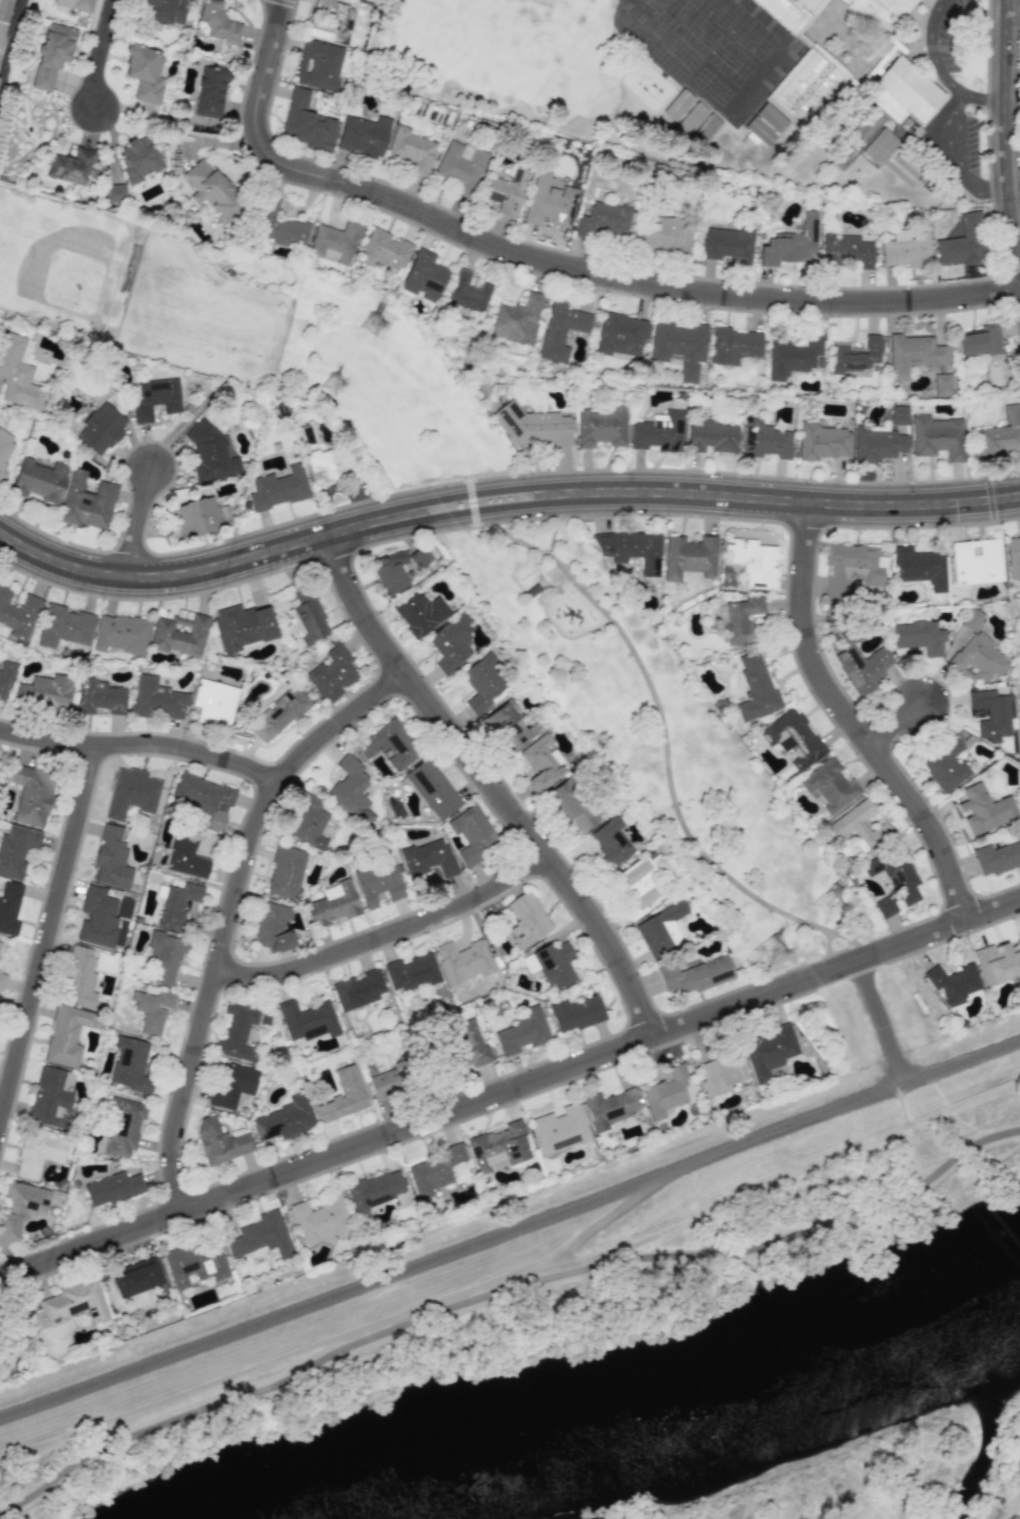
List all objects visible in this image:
building: (75, 4)
building: (163, 11)
building: (791, 12)
building: (881, 12)
building: (4, 17)
building: (329, 22)
building: (216, 23)
road: (10, 40)
road: (932, 50)
building: (52, 54)
park: (494, 54)
road: (98, 56)
building: (318, 65)
building: (144, 73)
building: (807, 85)
building: (210, 92)
building: (903, 92)
building: (677, 104)
road: (1012, 104)
building: (306, 122)
building: (699, 123)
building: (765, 124)
building: (363, 136)
road: (952, 138)
building: (880, 147)
building: (411, 150)
building: (842, 152)
building: (138, 159)
building: (72, 166)
building: (460, 166)
building: (211, 189)
building: (507, 191)
building: (114, 193)
building: (549, 202)
building: (605, 221)
building: (277, 225)
building: (665, 235)
building: (335, 242)
building: (963, 242)
building: (727, 243)
building: (791, 243)
building: (906, 246)
building: (384, 249)
building: (847, 250)
road: (551, 264)
building: (424, 276)
building: (468, 293)
power tower: (375, 317)
building: (517, 320)
building: (561, 330)
building: (620, 334)
building: (980, 341)
building: (732, 345)
building: (679, 347)
building: (914, 355)
building: (792, 356)
building: (855, 357)
building: (18, 373)
power tower: (337, 384)
building: (941, 384)
park: (384, 389)
building: (155, 399)
building: (898, 415)
building: (532, 425)
building: (602, 427)
building: (100, 428)
building: (658, 431)
building: (1001, 433)
building: (711, 437)
building: (937, 437)
building: (765, 440)
building: (821, 442)
building: (876, 444)
building: (4, 449)
building: (209, 453)
building: (332, 464)
building: (39, 480)
building: (278, 488)
building: (87, 502)
road: (473, 502)
road: (501, 503)
building: (200, 516)
road: (145, 527)
road: (553, 536)
building: (630, 549)
building: (1013, 556)
building: (417, 557)
building: (689, 557)
building: (753, 562)
building: (976, 562)
building: (921, 567)
building: (852, 568)
building: (390, 571)
building: (18, 613)
building: (420, 613)
building: (308, 615)
building: (972, 619)
building: (740, 620)
building: (294, 622)
building: (64, 626)
building: (242, 626)
building: (120, 634)
building: (180, 634)
building: (919, 636)
building: (451, 642)
building: (978, 658)
building: (862, 667)
building: (331, 674)
building: (5, 677)
building: (483, 682)
building: (755, 688)
building: (44, 692)
building: (98, 697)
building: (157, 699)
building: (214, 703)
building: (991, 714)
building: (279, 715)
road: (860, 723)
building: (509, 726)
road: (905, 726)
road: (663, 733)
building: (792, 738)
building: (389, 744)
park: (662, 745)
road: (142, 748)
building: (0, 759)
building: (541, 763)
building: (945, 765)
building: (829, 786)
road: (495, 787)
building: (432, 789)
building: (351, 790)
building: (131, 793)
building: (31, 794)
building: (204, 798)
building: (573, 805)
building: (984, 810)
building: (308, 822)
building: (859, 826)
building: (473, 835)
building: (610, 842)
building: (16, 850)
building: (186, 855)
building: (998, 857)
building: (428, 858)
building: (111, 859)
building: (285, 872)
building: (894, 879)
building: (378, 882)
building: (639, 887)
power tower: (828, 902)
building: (177, 904)
building: (332, 904)
building: (9, 907)
building: (97, 918)
building: (526, 920)
road: (226, 921)
road: (46, 927)
building: (272, 927)
building: (662, 929)
road: (834, 934)
building: (1019, 938)
road: (390, 940)
power tower: (768, 948)
building: (164, 957)
building: (463, 960)
building: (997, 962)
building: (555, 965)
building: (411, 972)
building: (693, 975)
building: (79, 978)
building: (2, 981)
building: (953, 983)
building: (358, 990)
building: (152, 1010)
building: (575, 1013)
building: (306, 1020)
road: (880, 1023)
building: (238, 1032)
building: (523, 1032)
building: (67, 1035)
building: (469, 1046)
building: (769, 1051)
building: (130, 1065)
building: (721, 1073)
building: (386, 1082)
building: (232, 1084)
building: (666, 1092)
building: (344, 1095)
building: (51, 1096)
road: (510, 1097)
building: (610, 1108)
building: (284, 1119)
building: (123, 1127)
building: (560, 1129)
building: (220, 1141)
building: (500, 1146)
building: (39, 1152)
building: (434, 1171)
building: (112, 1189)
building: (375, 1190)
building: (19, 1208)
building: (321, 1220)
road: (511, 1231)
building: (262, 1236)
building: (196, 1263)
building: (137, 1277)
road: (505, 1299)
building: (74, 1303)
building: (9, 1353)
river: (696, 1411)

